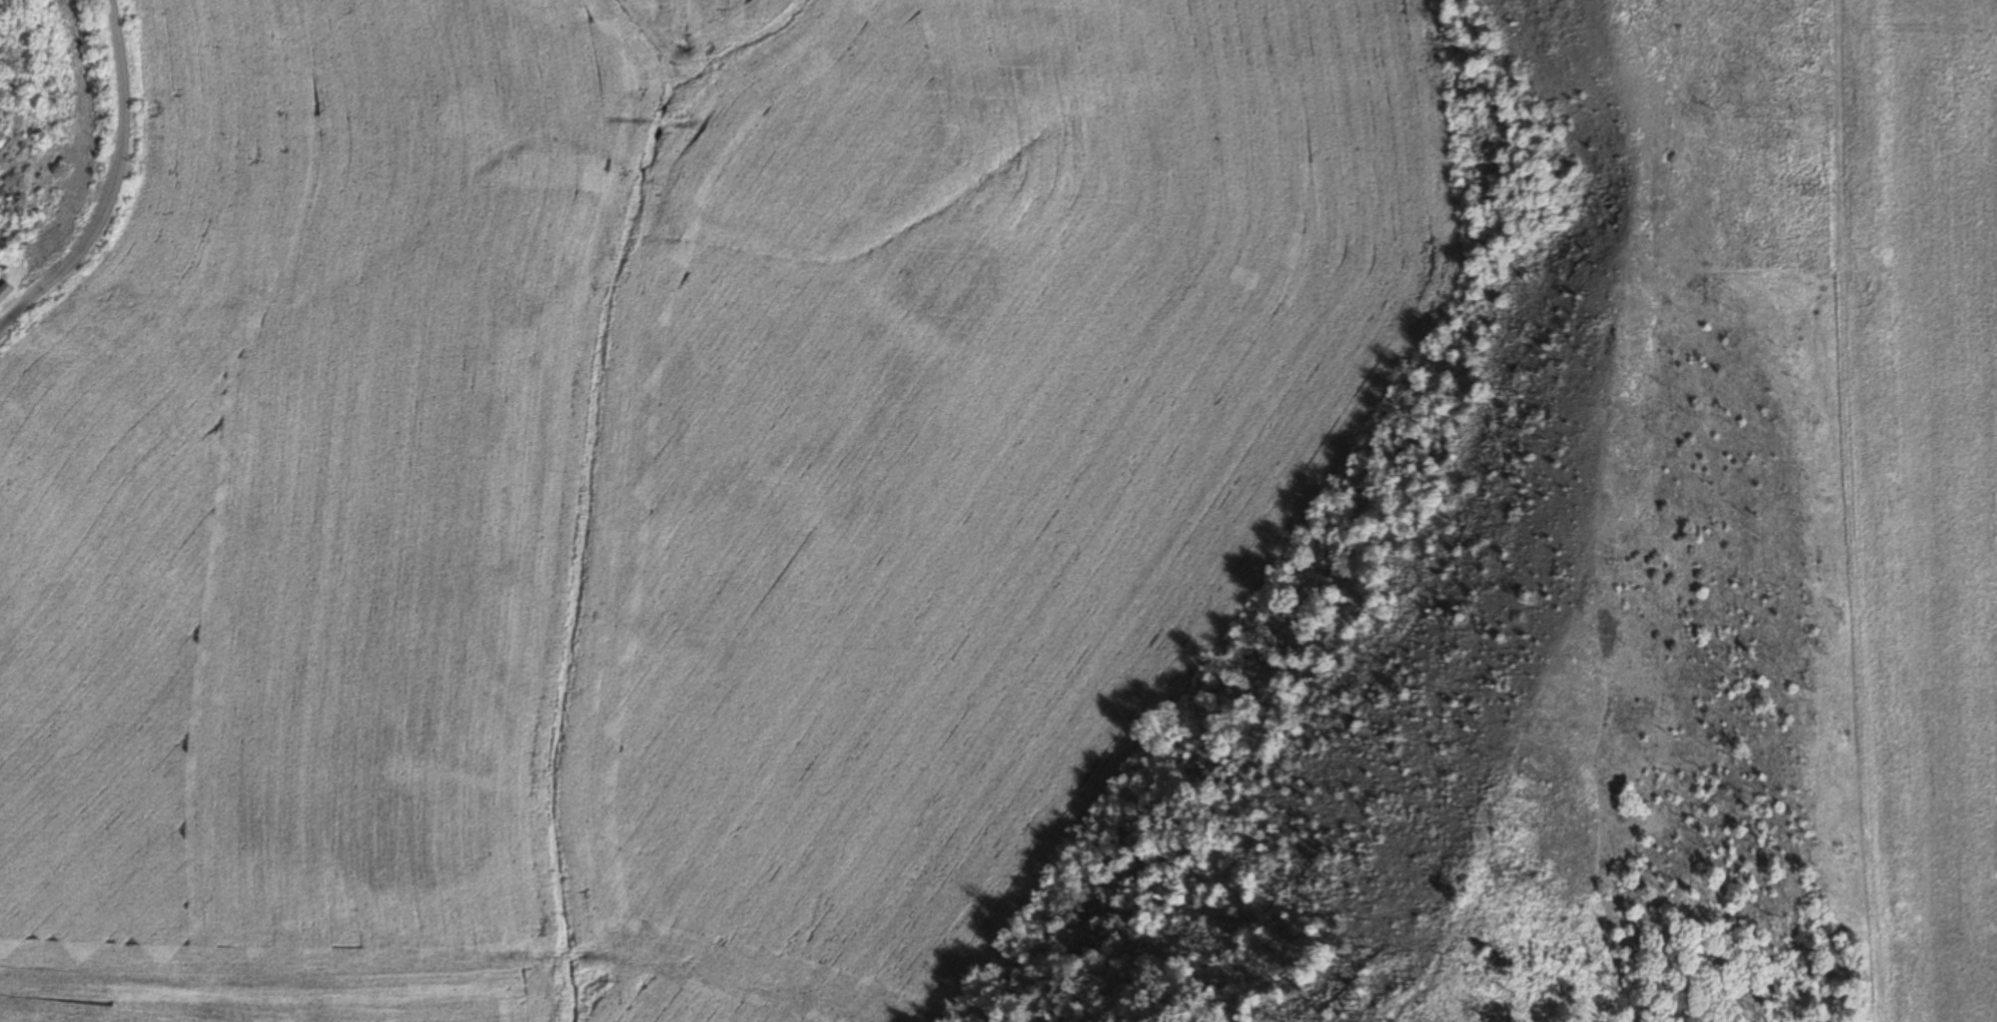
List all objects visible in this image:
road: (113, 185)

